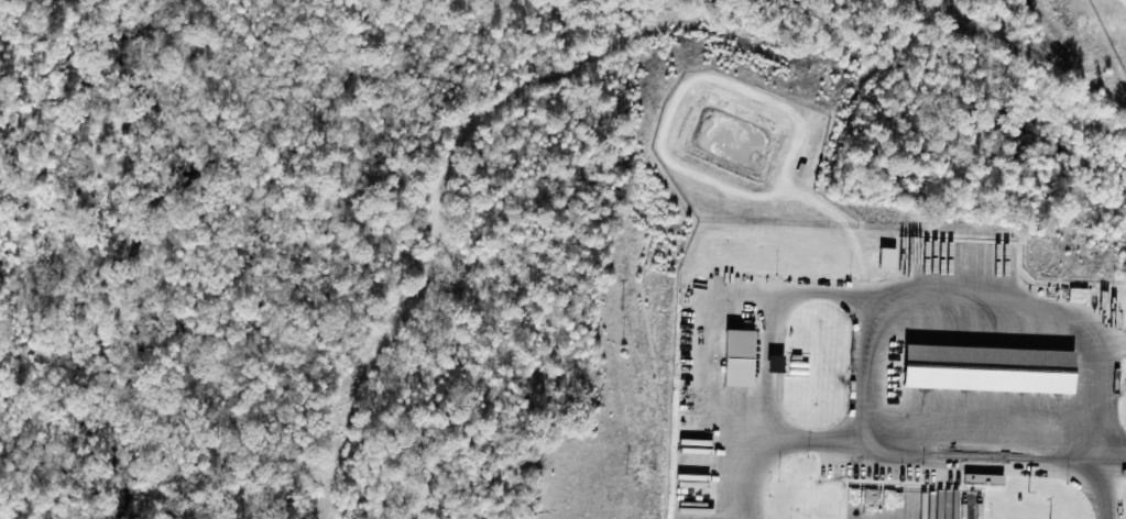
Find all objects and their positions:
building: (887, 258)
road: (707, 300)
road: (974, 302)
building: (737, 360)
road: (762, 369)
building: (987, 371)
road: (922, 453)
road: (1115, 464)
building: (983, 479)

